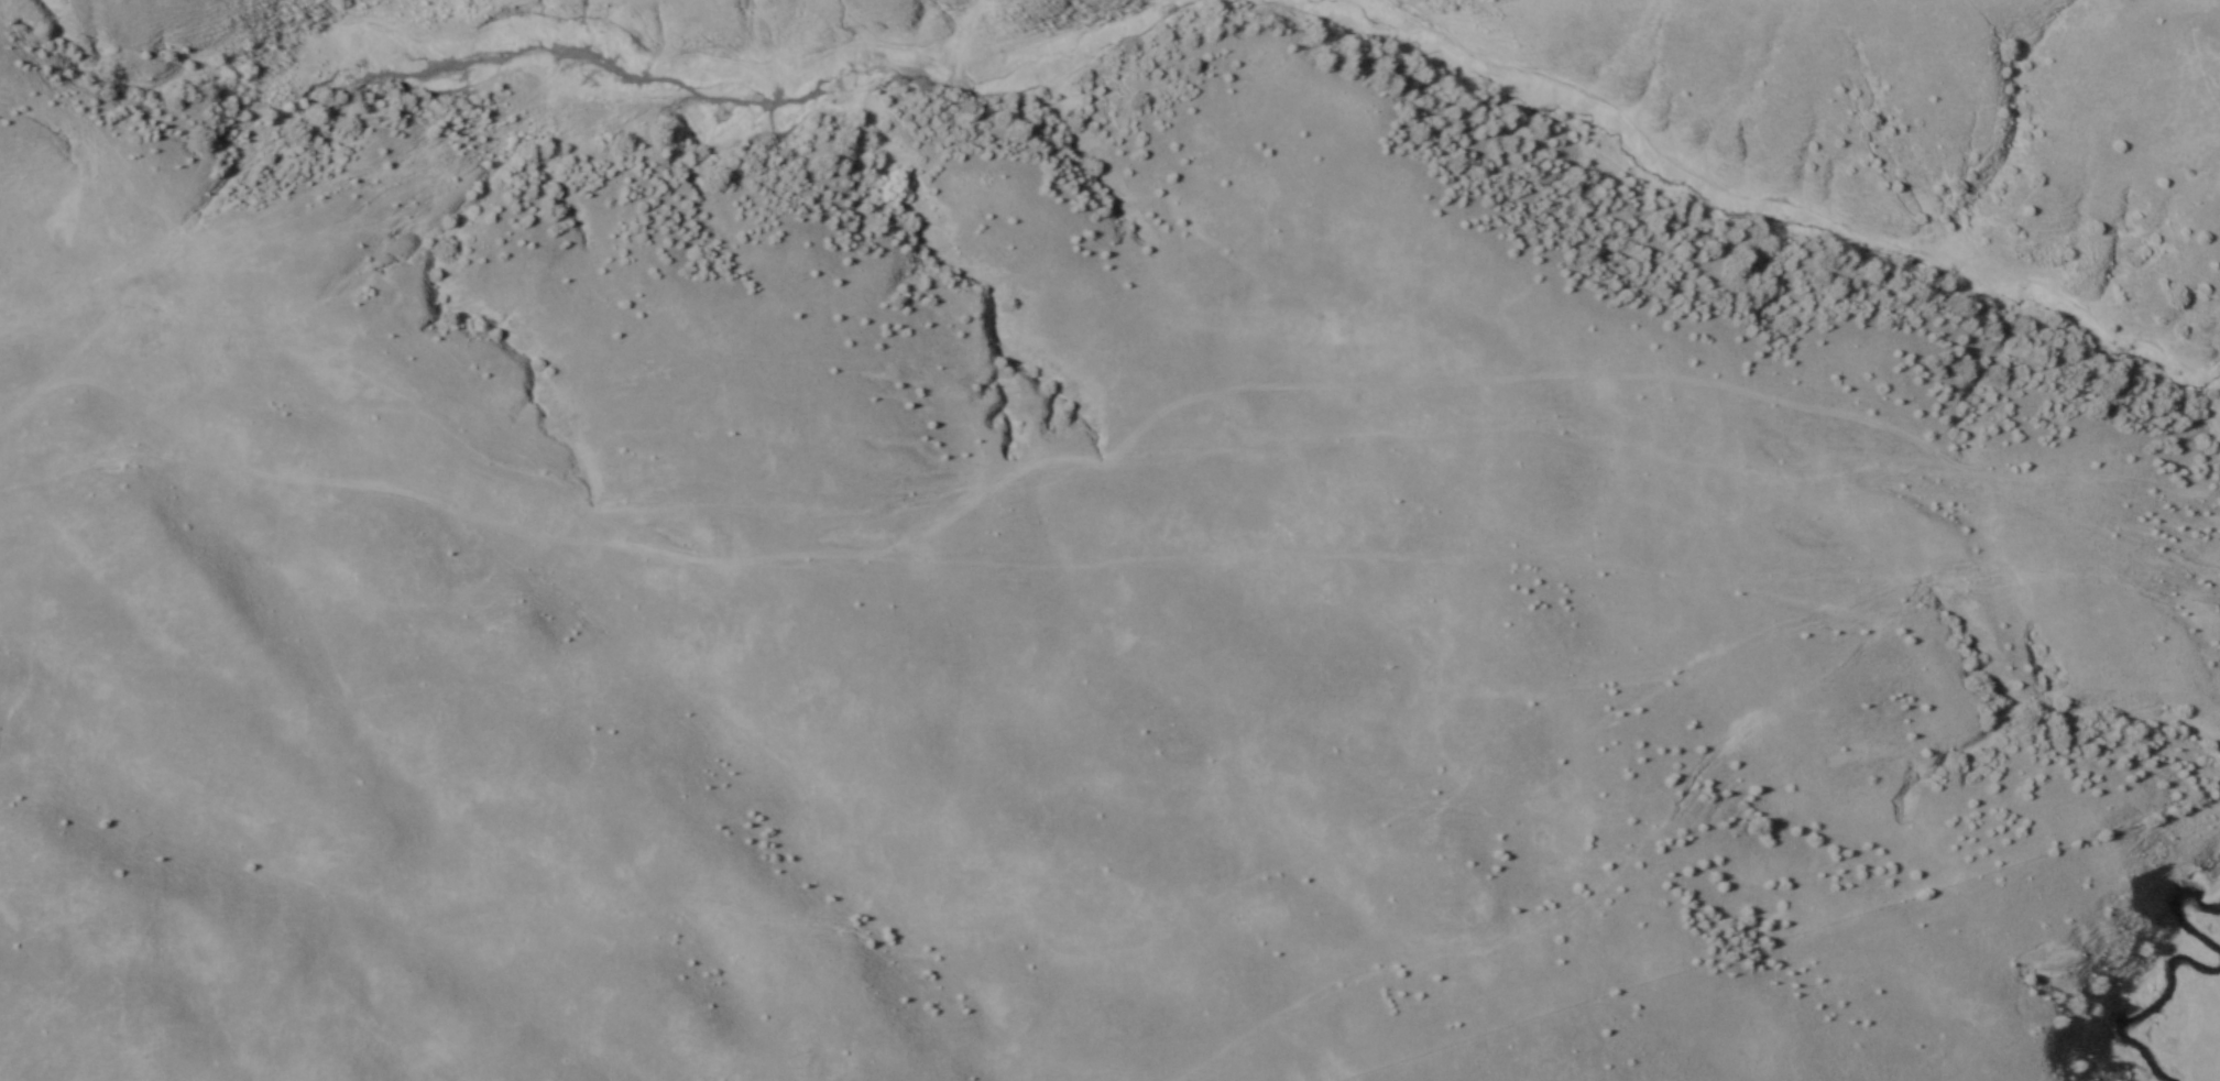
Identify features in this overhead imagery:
river: (2157, 978)

